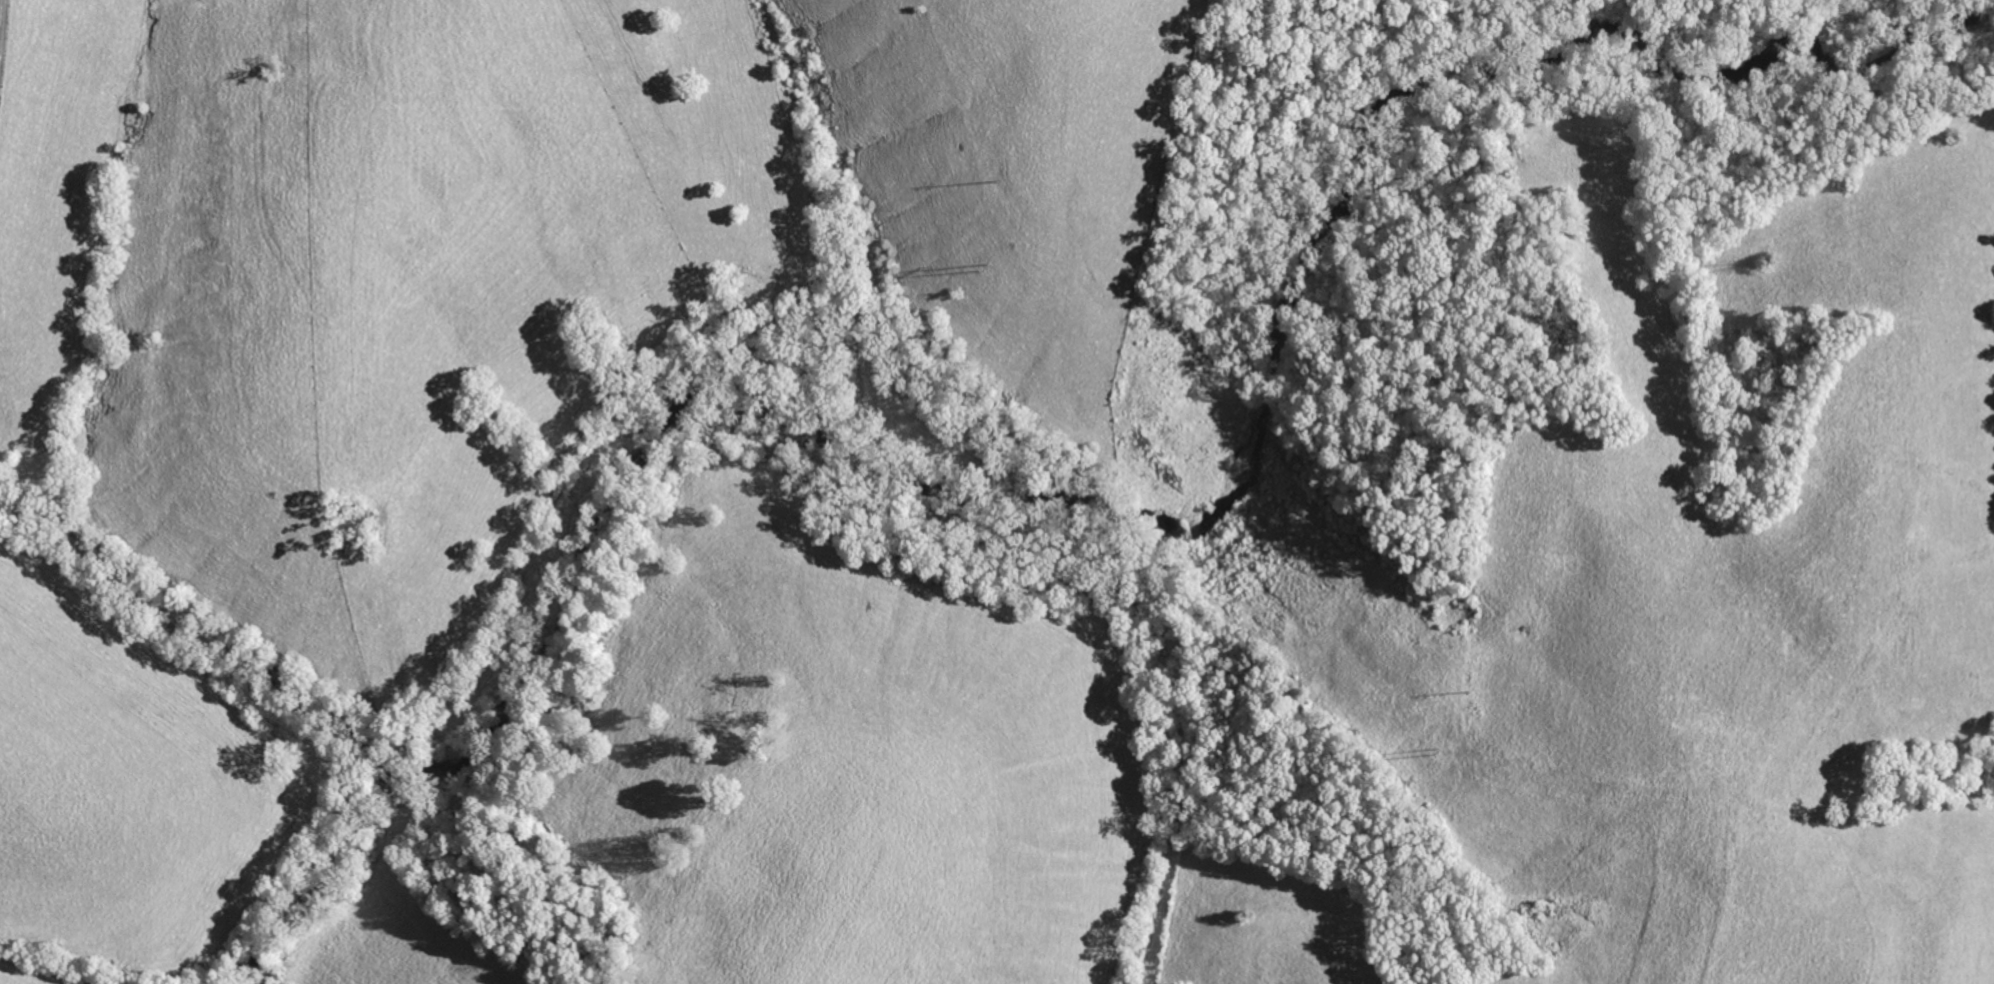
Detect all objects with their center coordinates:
road: (1749, 953)

